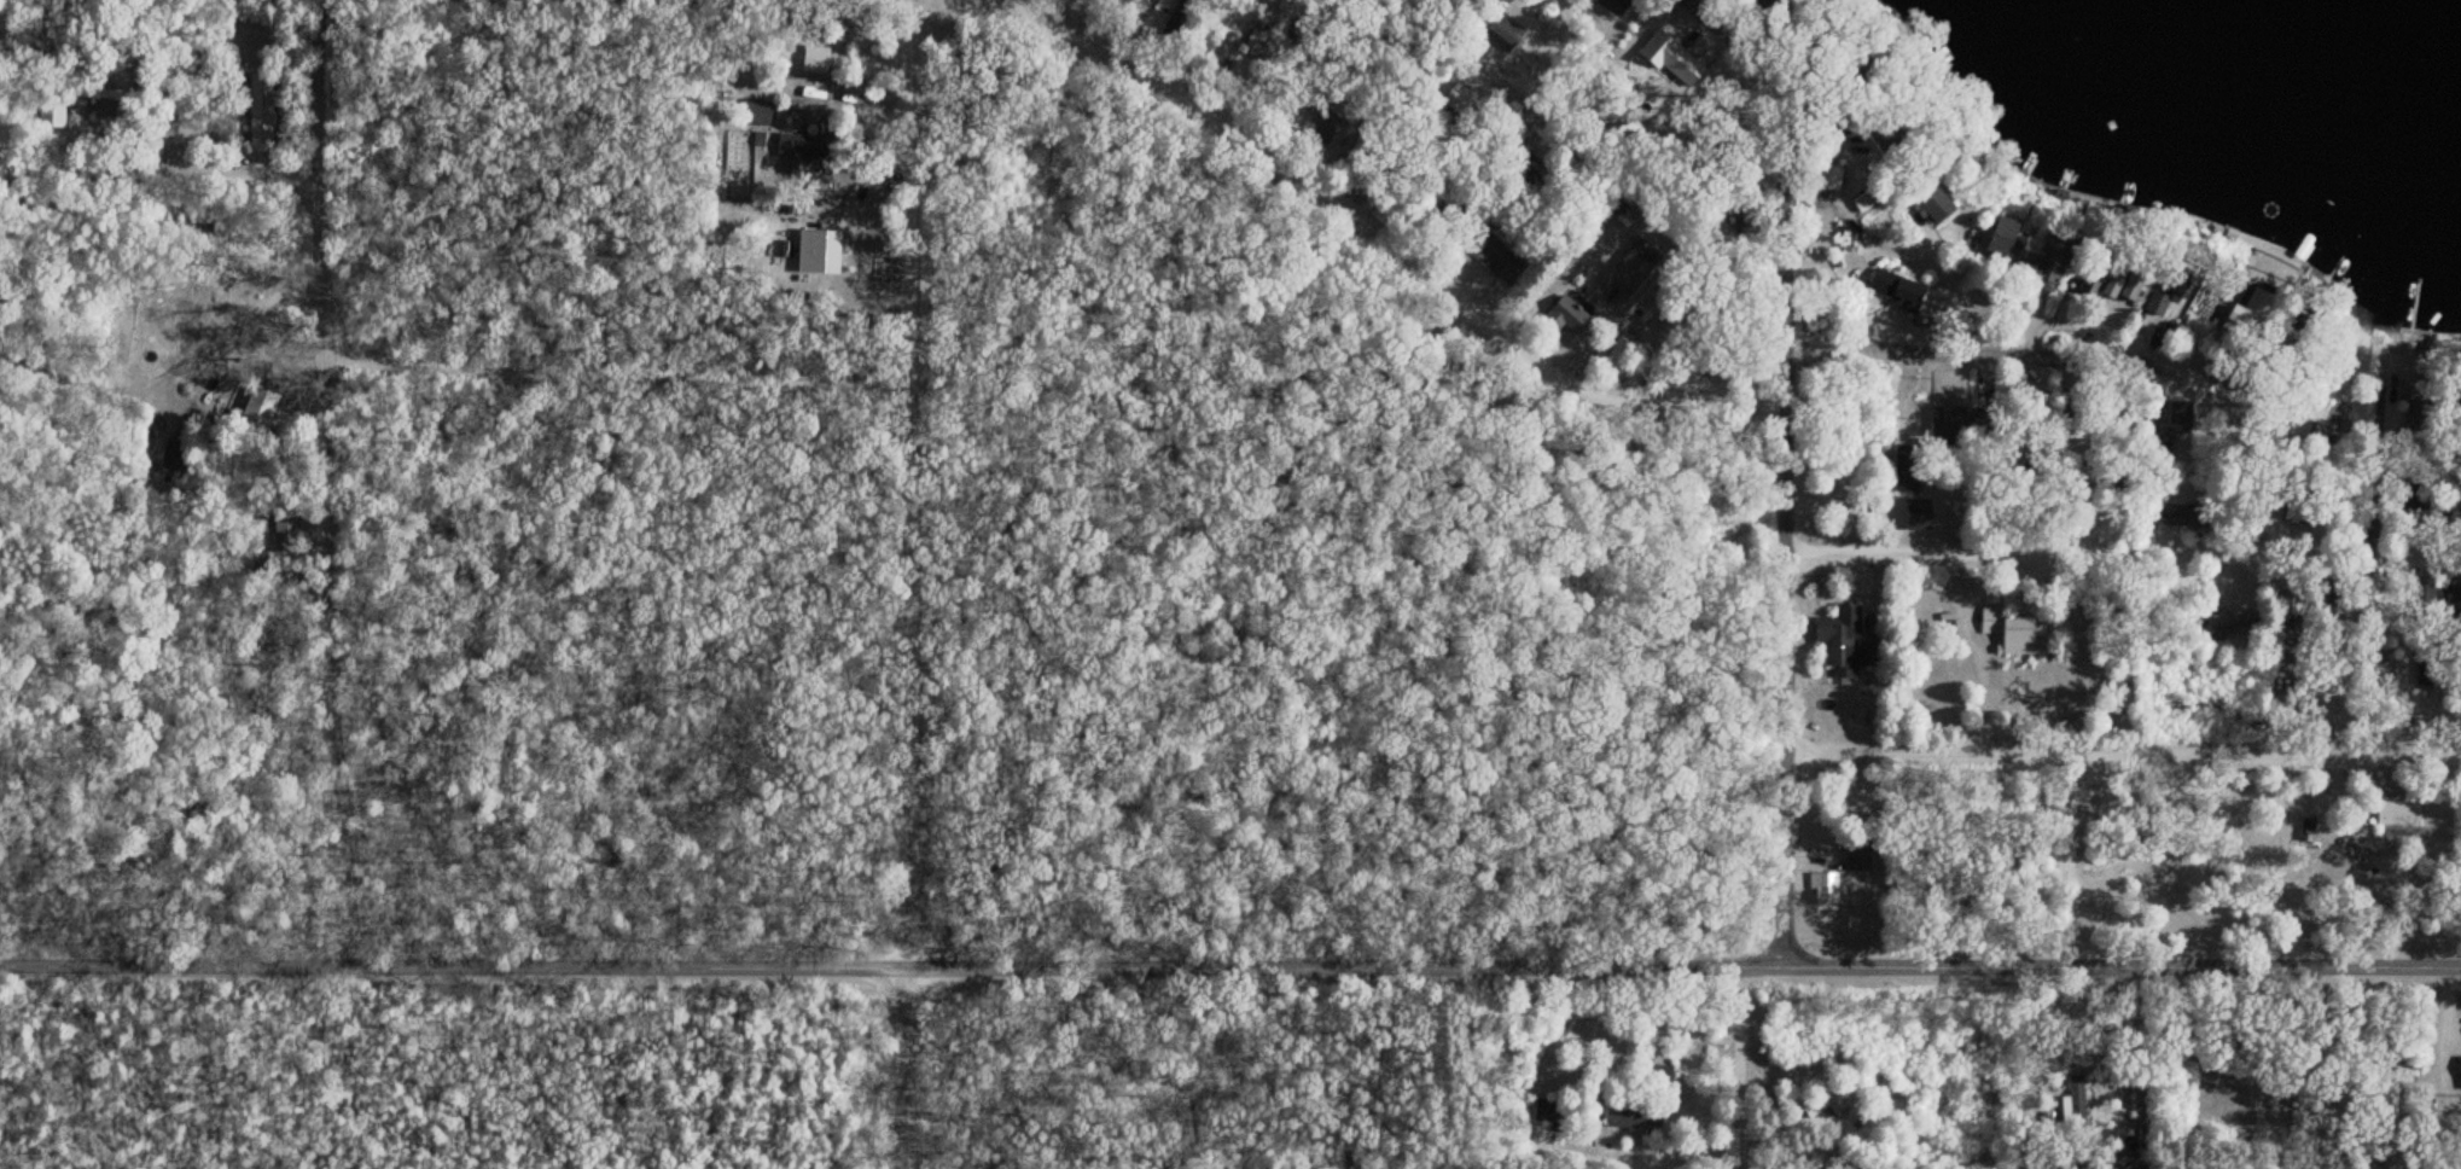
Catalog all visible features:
road: (1035, 1)
building: (1615, 6)
road: (1435, 40)
road: (1288, 63)
road: (1868, 68)
building: (100, 106)
road: (155, 136)
building: (796, 150)
road: (1897, 179)
building: (1838, 180)
road: (1761, 184)
building: (1935, 205)
road: (1381, 229)
building: (2054, 263)
building: (1633, 268)
building: (2133, 290)
building: (1895, 291)
road: (2014, 303)
building: (2250, 314)
road: (1884, 321)
road: (436, 332)
building: (2198, 332)
road: (1761, 347)
building: (256, 411)
building: (2411, 415)
building: (1988, 421)
building: (1942, 434)
building: (1906, 460)
road: (314, 483)
building: (1919, 514)
road: (2112, 522)
road: (892, 583)
building: (2235, 623)
building: (2009, 632)
road: (1759, 671)
road: (2110, 720)
building: (2397, 813)
road: (1230, 966)
road: (1750, 1068)

